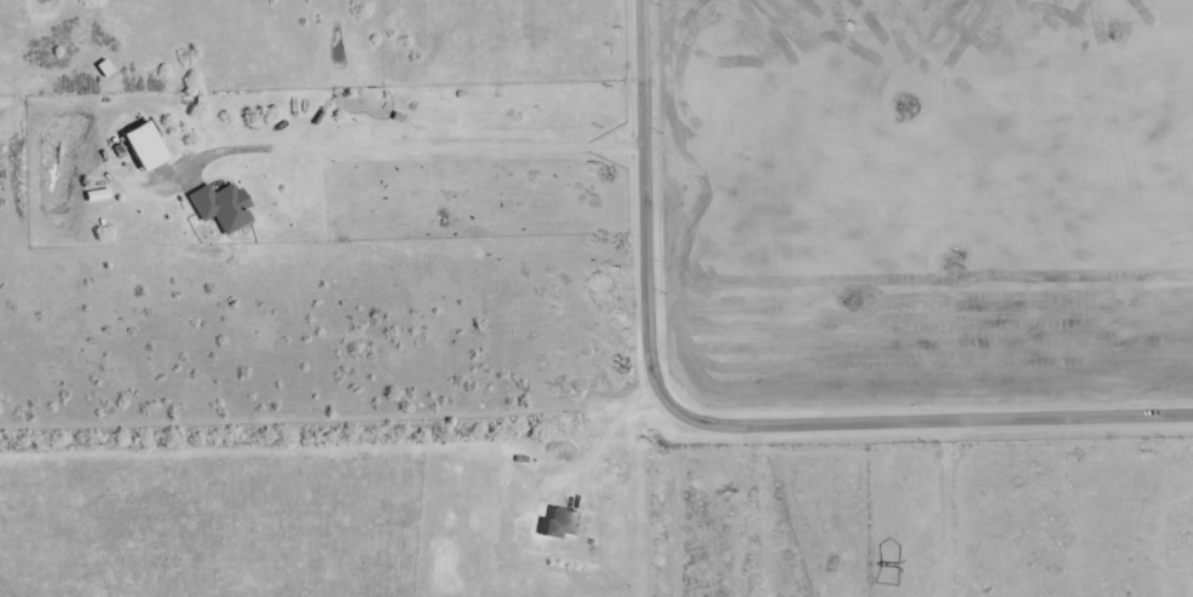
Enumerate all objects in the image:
building: (144, 147)
building: (221, 207)
road: (730, 418)
building: (561, 524)

